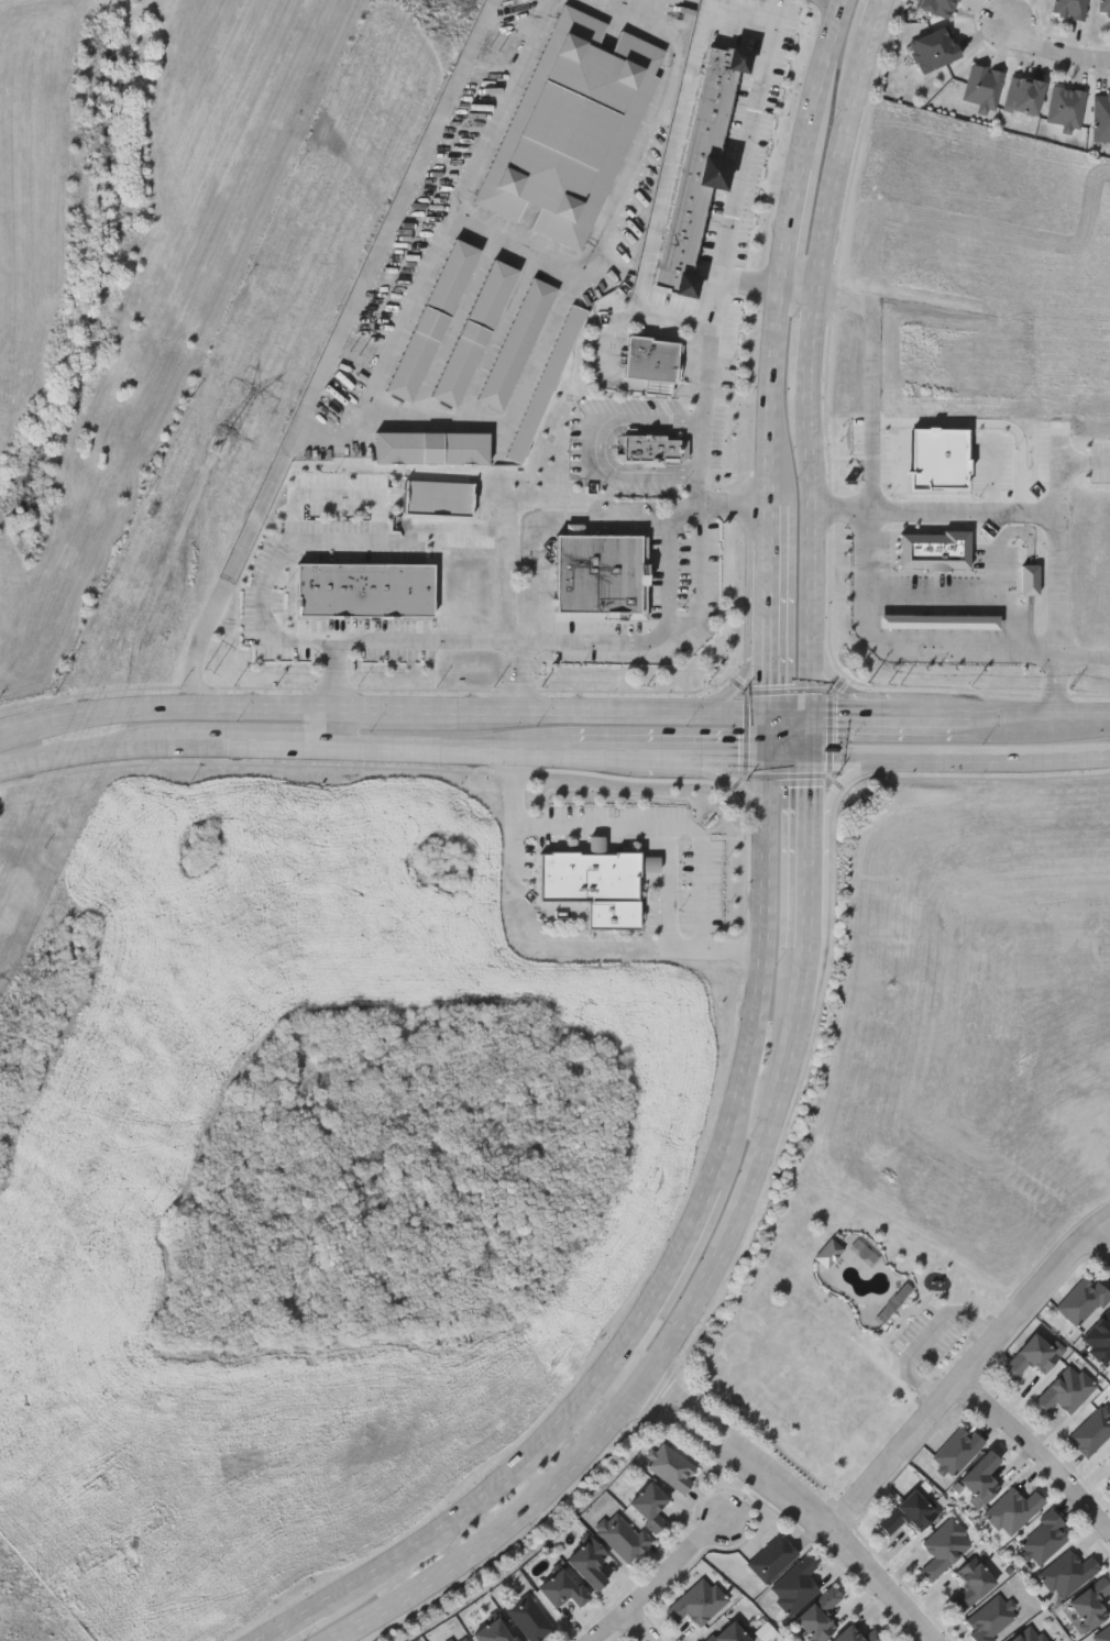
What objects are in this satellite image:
building: (759, 0)
building: (937, 7)
building: (1104, 7)
building: (1069, 8)
road: (633, 12)
road: (740, 18)
power tower: (493, 42)
building: (934, 48)
road: (1057, 52)
road: (823, 84)
building: (982, 86)
building: (1023, 95)
building: (1066, 107)
building: (1101, 117)
building: (571, 124)
road: (747, 137)
building: (699, 165)
road: (664, 190)
road: (624, 206)
road: (790, 227)
road: (435, 241)
road: (796, 293)
road: (813, 311)
road: (715, 312)
building: (429, 319)
building: (473, 331)
road: (614, 333)
building: (514, 342)
power tower: (354, 353)
road: (333, 355)
building: (651, 360)
road: (875, 379)
building: (541, 384)
road: (771, 395)
road: (508, 409)
power tower: (231, 434)
road: (589, 442)
building: (428, 445)
building: (652, 448)
road: (1063, 463)
road: (733, 503)
road: (1041, 510)
road: (768, 520)
road: (549, 525)
building: (934, 548)
building: (598, 573)
road: (767, 577)
road: (696, 579)
road: (509, 583)
building: (362, 588)
road: (968, 597)
building: (938, 619)
gas station: (938, 619)
road: (427, 636)
road: (911, 638)
road: (1086, 659)
road: (767, 667)
power tower: (211, 671)
road: (334, 673)
road: (813, 673)
road: (520, 675)
road: (743, 679)
road: (855, 694)
road: (165, 709)
road: (397, 712)
road: (575, 713)
road: (727, 715)
traffic signals: (767, 715)
road: (789, 715)
traffic signals: (812, 716)
road: (871, 716)
road: (953, 716)
road: (1041, 717)
road: (332, 728)
road: (767, 734)
road: (812, 735)
road: (253, 742)
road: (424, 747)
road: (540, 749)
road: (666, 750)
road: (86, 751)
traffic signals: (767, 752)
road: (789, 752)
traffic signals: (812, 753)
road: (845, 753)
road: (993, 756)
road: (683, 773)
road: (766, 797)
road: (834, 797)
road: (814, 806)
road: (657, 829)
road: (515, 848)
road: (703, 867)
building: (586, 874)
road: (815, 903)
building: (613, 912)
power tower: (94, 924)
road: (760, 1015)
road: (758, 1175)
road: (1102, 1234)
building: (828, 1252)
road: (671, 1274)
building: (1082, 1301)
road: (926, 1332)
building: (1031, 1356)
road: (969, 1372)
building: (1066, 1389)
building: (1091, 1431)
building: (957, 1450)
road: (1037, 1452)
building: (1109, 1456)
building: (672, 1467)
building: (981, 1477)
road: (784, 1490)
building: (648, 1505)
road: (494, 1507)
building: (1012, 1510)
building: (910, 1512)
road: (516, 1530)
building: (622, 1535)
building: (1044, 1538)
building: (944, 1548)
building: (771, 1557)
building: (589, 1563)
building: (1067, 1573)
road: (657, 1582)
building: (970, 1584)
building: (793, 1585)
building: (561, 1588)
building: (697, 1601)
building: (818, 1615)
building: (529, 1618)
building: (991, 1618)
road: (641, 1626)
road: (312, 1628)
building: (494, 1631)
building: (727, 1633)
building: (1101, 1633)
building: (857, 1634)
building: (1029, 1634)
building: (462, 1639)

